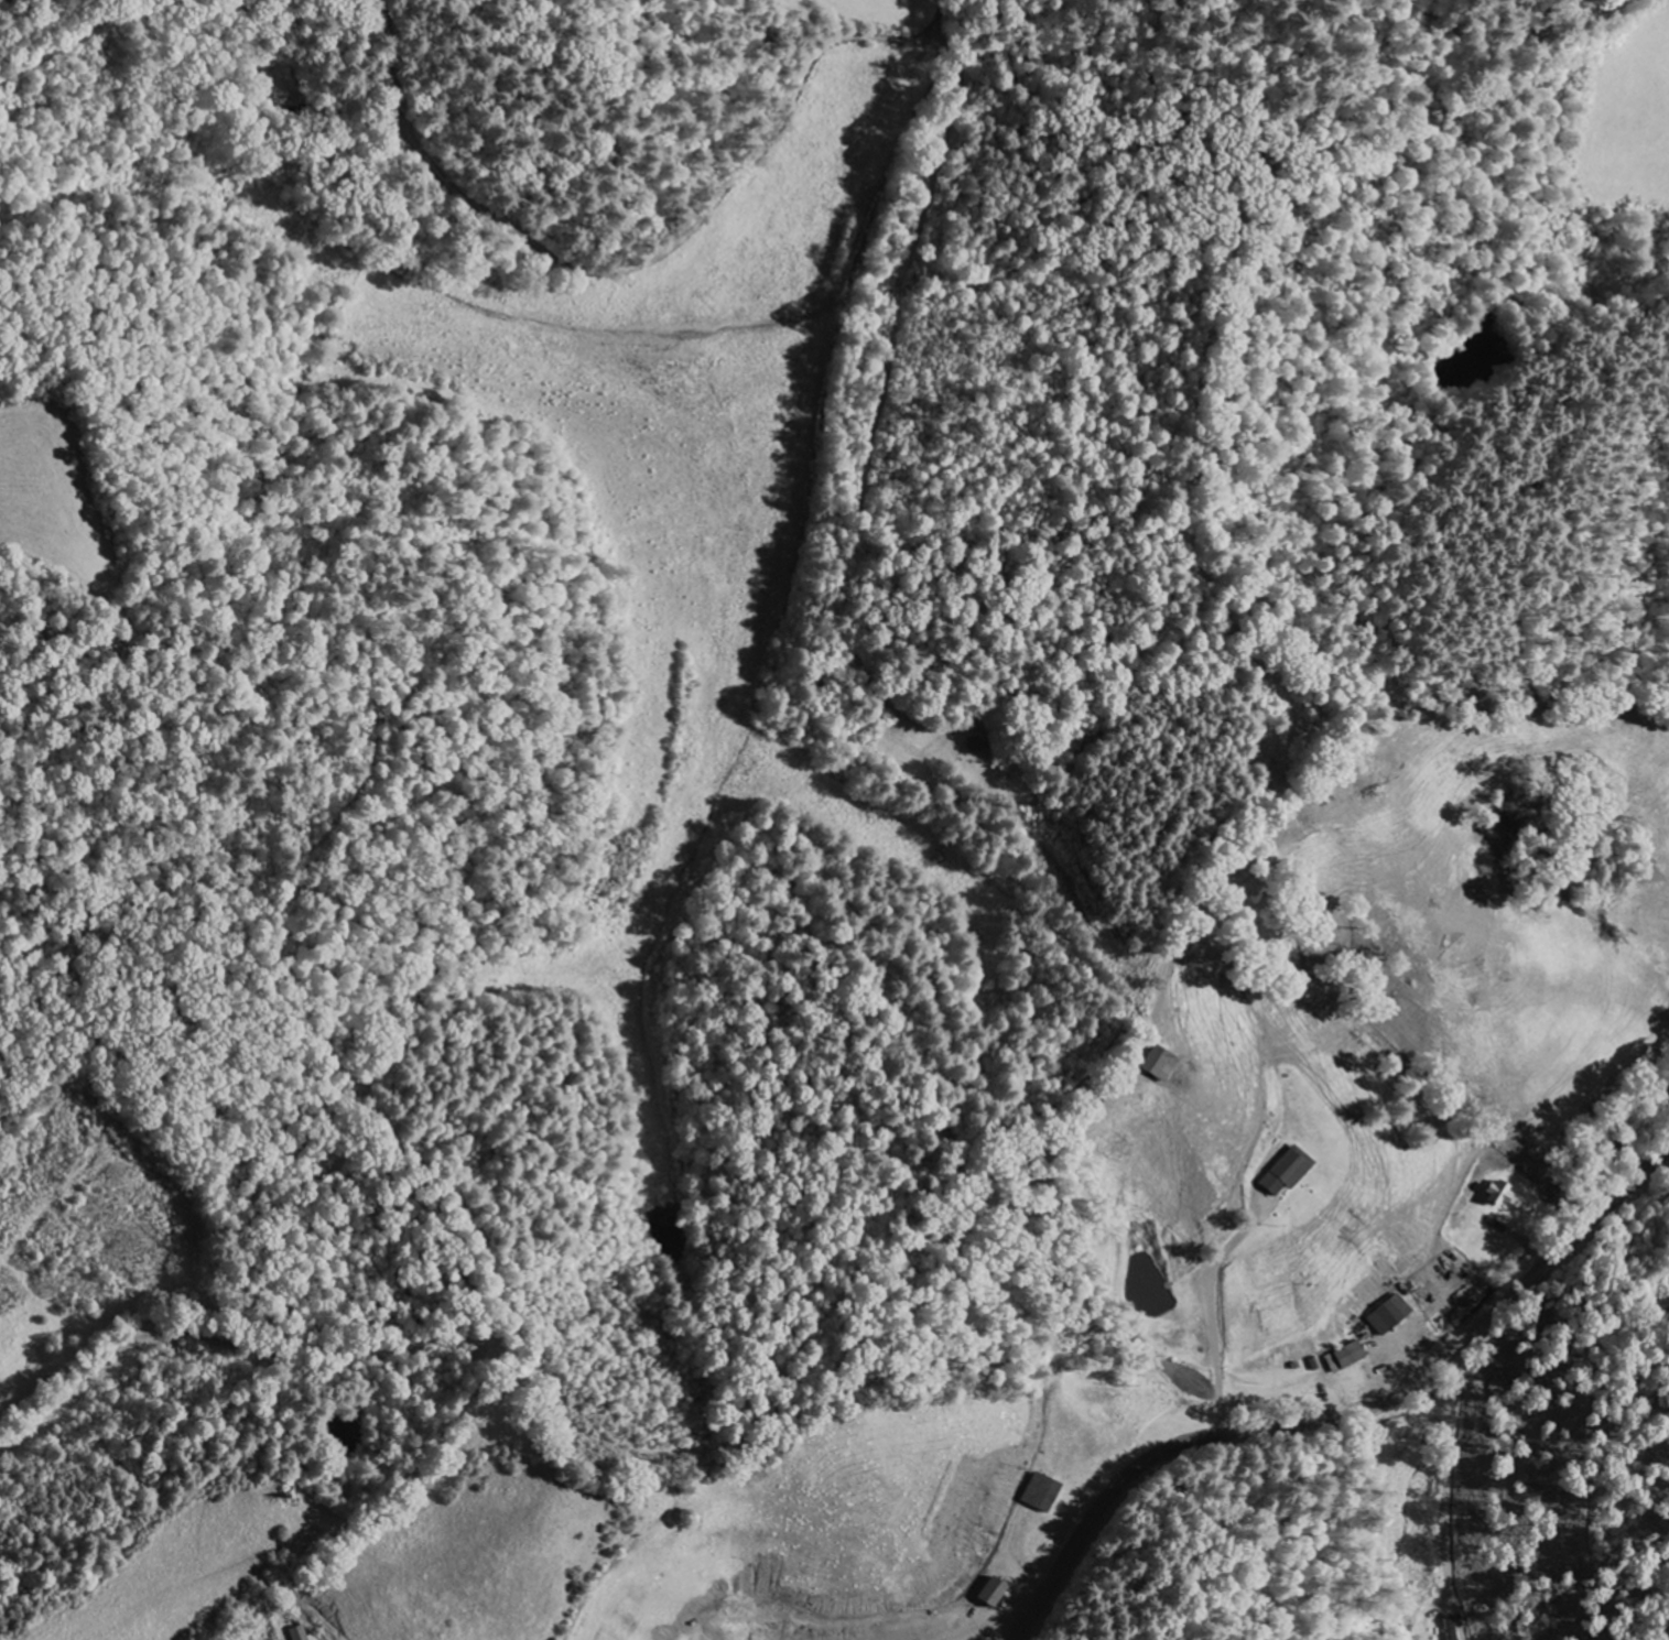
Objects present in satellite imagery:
road: (652, 225)
building: (1158, 1065)
building: (1283, 1172)
building: (1387, 1315)
building: (1342, 1358)
road: (1341, 1416)
building: (1039, 1492)
building: (988, 1593)
building: (1446, 1629)
building: (299, 1634)

